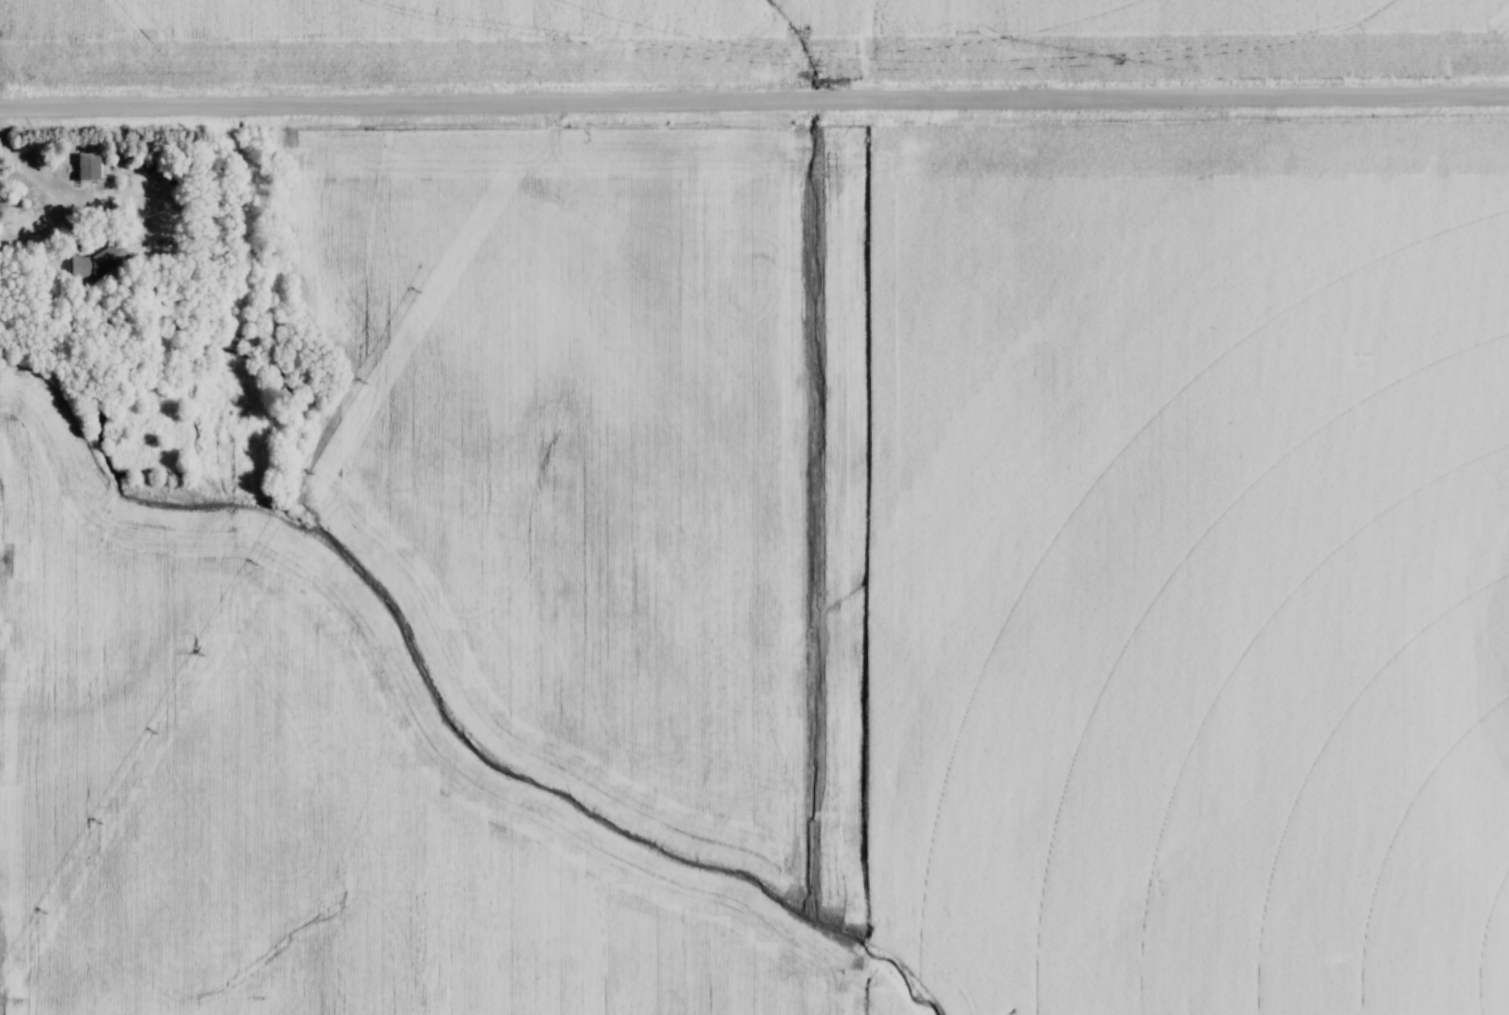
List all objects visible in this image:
road: (754, 103)
building: (92, 168)
road: (37, 186)
building: (107, 262)

